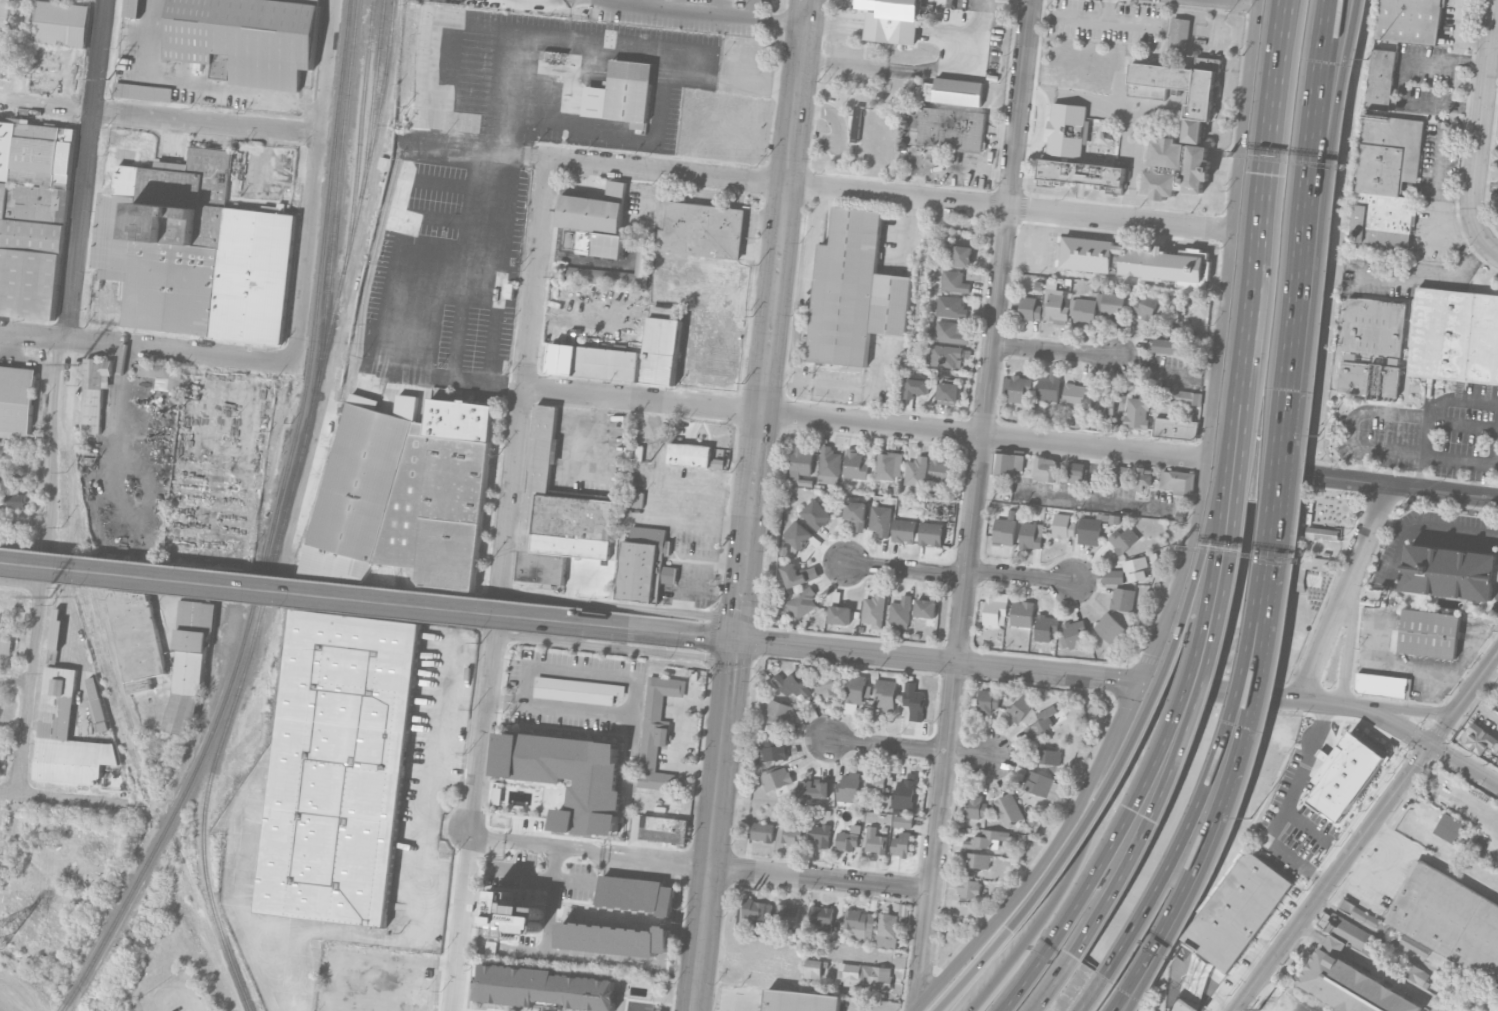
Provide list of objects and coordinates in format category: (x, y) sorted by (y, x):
road: (545, 0)
road: (622, 4)
building: (133, 8)
road: (753, 9)
road: (720, 15)
road: (1090, 16)
building: (891, 20)
road: (1134, 20)
building: (1408, 20)
road: (837, 21)
building: (61, 23)
road: (891, 28)
building: (3, 33)
road: (940, 34)
building: (1179, 34)
road: (550, 38)
building: (246, 39)
road: (954, 62)
road: (845, 66)
road: (1405, 78)
power tower: (108, 79)
building: (1379, 79)
railway: (374, 86)
building: (1179, 88)
building: (952, 91)
building: (143, 92)
building: (622, 92)
road: (46, 105)
building: (442, 119)
road: (1273, 122)
road: (206, 123)
building: (856, 123)
building: (952, 128)
building: (1067, 130)
road: (1482, 131)
railway: (360, 136)
road: (623, 137)
building: (1389, 153)
road: (523, 155)
road: (86, 157)
building: (1176, 168)
building: (1081, 174)
road: (315, 182)
road: (1488, 186)
road: (888, 195)
road: (1438, 201)
railway: (355, 214)
building: (1382, 218)
railway: (333, 220)
building: (595, 221)
road: (1230, 229)
building: (703, 230)
road: (1304, 233)
road: (1321, 234)
building: (196, 252)
building: (962, 256)
road: (581, 258)
building: (1136, 261)
road: (1431, 279)
railway: (319, 282)
building: (954, 282)
road: (803, 288)
building: (854, 292)
building: (1112, 303)
building: (1145, 305)
building: (951, 307)
building: (1056, 307)
building: (1029, 308)
road: (774, 309)
building: (1085, 310)
road: (1247, 322)
road: (1253, 323)
road: (64, 327)
building: (946, 333)
building: (1455, 334)
building: (1166, 342)
road: (427, 346)
building: (1373, 346)
road: (142, 347)
road: (1054, 350)
building: (945, 355)
building: (626, 356)
power tower: (79, 364)
building: (725, 365)
building: (162, 375)
road: (835, 384)
building: (1016, 387)
building: (916, 388)
building: (1048, 388)
building: (95, 392)
building: (947, 392)
building: (1074, 394)
building: (1186, 397)
building: (16, 403)
building: (1102, 407)
building: (1137, 413)
road: (1396, 413)
road: (864, 422)
building: (1175, 429)
parking lot: (1428, 432)
road: (598, 435)
road: (1494, 445)
road: (1425, 452)
building: (689, 454)
road: (1428, 454)
building: (801, 459)
building: (829, 461)
building: (854, 463)
road: (1228, 463)
building: (888, 464)
building: (1007, 464)
building: (1045, 468)
building: (940, 469)
building: (916, 470)
building: (1076, 472)
road: (1097, 473)
building: (1120, 473)
road: (1318, 475)
building: (1142, 477)
building: (1177, 481)
road: (704, 487)
building: (1005, 488)
road: (1278, 490)
road: (1442, 490)
building: (405, 493)
road: (508, 495)
building: (636, 499)
road: (1095, 499)
building: (16, 500)
railway: (282, 500)
road: (973, 504)
road: (655, 505)
building: (856, 512)
building: (556, 513)
building: (815, 513)
building: (880, 518)
building: (1111, 518)
road: (1219, 518)
road: (1233, 521)
road: (1370, 524)
building: (1063, 526)
road: (1425, 527)
building: (904, 529)
building: (1004, 530)
building: (1089, 530)
building: (931, 532)
building: (799, 533)
building: (1320, 533)
building: (1031, 534)
parking lot: (1432, 538)
building: (1123, 540)
road: (23, 545)
building: (1153, 556)
road: (691, 561)
road: (44, 565)
building: (645, 565)
building: (1136, 568)
building: (1450, 569)
road: (905, 570)
building: (798, 572)
road: (1180, 573)
road: (1019, 576)
building: (1112, 576)
road: (572, 578)
road: (21, 584)
parking lot: (1497, 587)
power tower: (50, 597)
road: (353, 598)
building: (1123, 599)
building: (802, 601)
road: (590, 603)
building: (926, 606)
building: (995, 607)
building: (874, 608)
building: (901, 609)
road: (1268, 610)
building: (840, 612)
building: (1022, 612)
road: (711, 616)
building: (1045, 626)
building: (1109, 626)
road: (737, 628)
building: (57, 629)
road: (1378, 630)
building: (1075, 632)
road: (1326, 633)
building: (1429, 633)
road: (1350, 635)
road: (721, 636)
traffic signals: (736, 638)
building: (5, 646)
road: (613, 648)
road: (734, 649)
road: (1472, 649)
parking lot: (1417, 654)
road: (937, 659)
building: (190, 663)
building: (801, 668)
road: (1417, 668)
road: (603, 673)
road: (1492, 673)
road: (20, 680)
road: (1463, 680)
building: (825, 682)
traffic signals: (1138, 682)
building: (791, 683)
building: (1381, 685)
road: (1158, 686)
building: (856, 687)
building: (577, 690)
road: (1218, 691)
building: (886, 692)
road: (1464, 698)
building: (987, 699)
building: (914, 700)
road: (560, 706)
building: (1021, 706)
road: (1411, 708)
building: (780, 711)
building: (1040, 721)
railway: (225, 725)
road: (1402, 728)
building: (656, 730)
building: (67, 735)
road: (679, 735)
building: (1480, 739)
traffic signals: (1432, 744)
road: (908, 746)
building: (775, 749)
building: (1048, 755)
road: (1215, 762)
building: (340, 767)
building: (109, 775)
building: (569, 776)
building: (776, 777)
building: (876, 780)
building: (1037, 782)
building: (849, 786)
building: (814, 787)
railway: (185, 789)
building: (904, 793)
road: (52, 795)
road: (1290, 801)
road: (1157, 804)
building: (975, 805)
building: (1008, 807)
building: (902, 820)
building: (1450, 826)
building: (664, 828)
road: (450, 829)
building: (762, 830)
road: (1119, 833)
building: (790, 834)
building: (821, 834)
road: (712, 835)
building: (985, 838)
building: (846, 839)
building: (876, 842)
building: (901, 843)
road: (537, 847)
road: (1045, 858)
road: (1078, 858)
building: (974, 859)
road: (656, 861)
road: (1434, 861)
road: (1195, 865)
road: (1207, 865)
road: (423, 868)
road: (541, 874)
road: (1331, 876)
road: (819, 878)
road: (1377, 879)
building: (968, 887)
building: (637, 895)
road: (463, 902)
road: (551, 902)
building: (757, 910)
building: (904, 910)
building: (1237, 911)
building: (786, 913)
building: (1361, 913)
building: (511, 915)
building: (820, 918)
building: (1449, 920)
building: (859, 921)
building: (887, 930)
building: (1348, 930)
road: (1381, 935)
building: (614, 938)
power tower: (0, 945)
building: (1414, 945)
road: (413, 958)
road: (579, 958)
building: (813, 967)
road: (1370, 967)
building: (1412, 970)
building: (864, 974)
road: (969, 975)
road: (1054, 984)
road: (1270, 984)
building: (1351, 985)
building: (547, 986)
road: (26, 994)
road: (1085, 1000)
building: (800, 1001)
power substation: (1288, 1002)
road: (740, 1004)
road: (1150, 1004)
road: (638, 1005)
railway: (66, 1006)
power tower: (1259, 1008)

